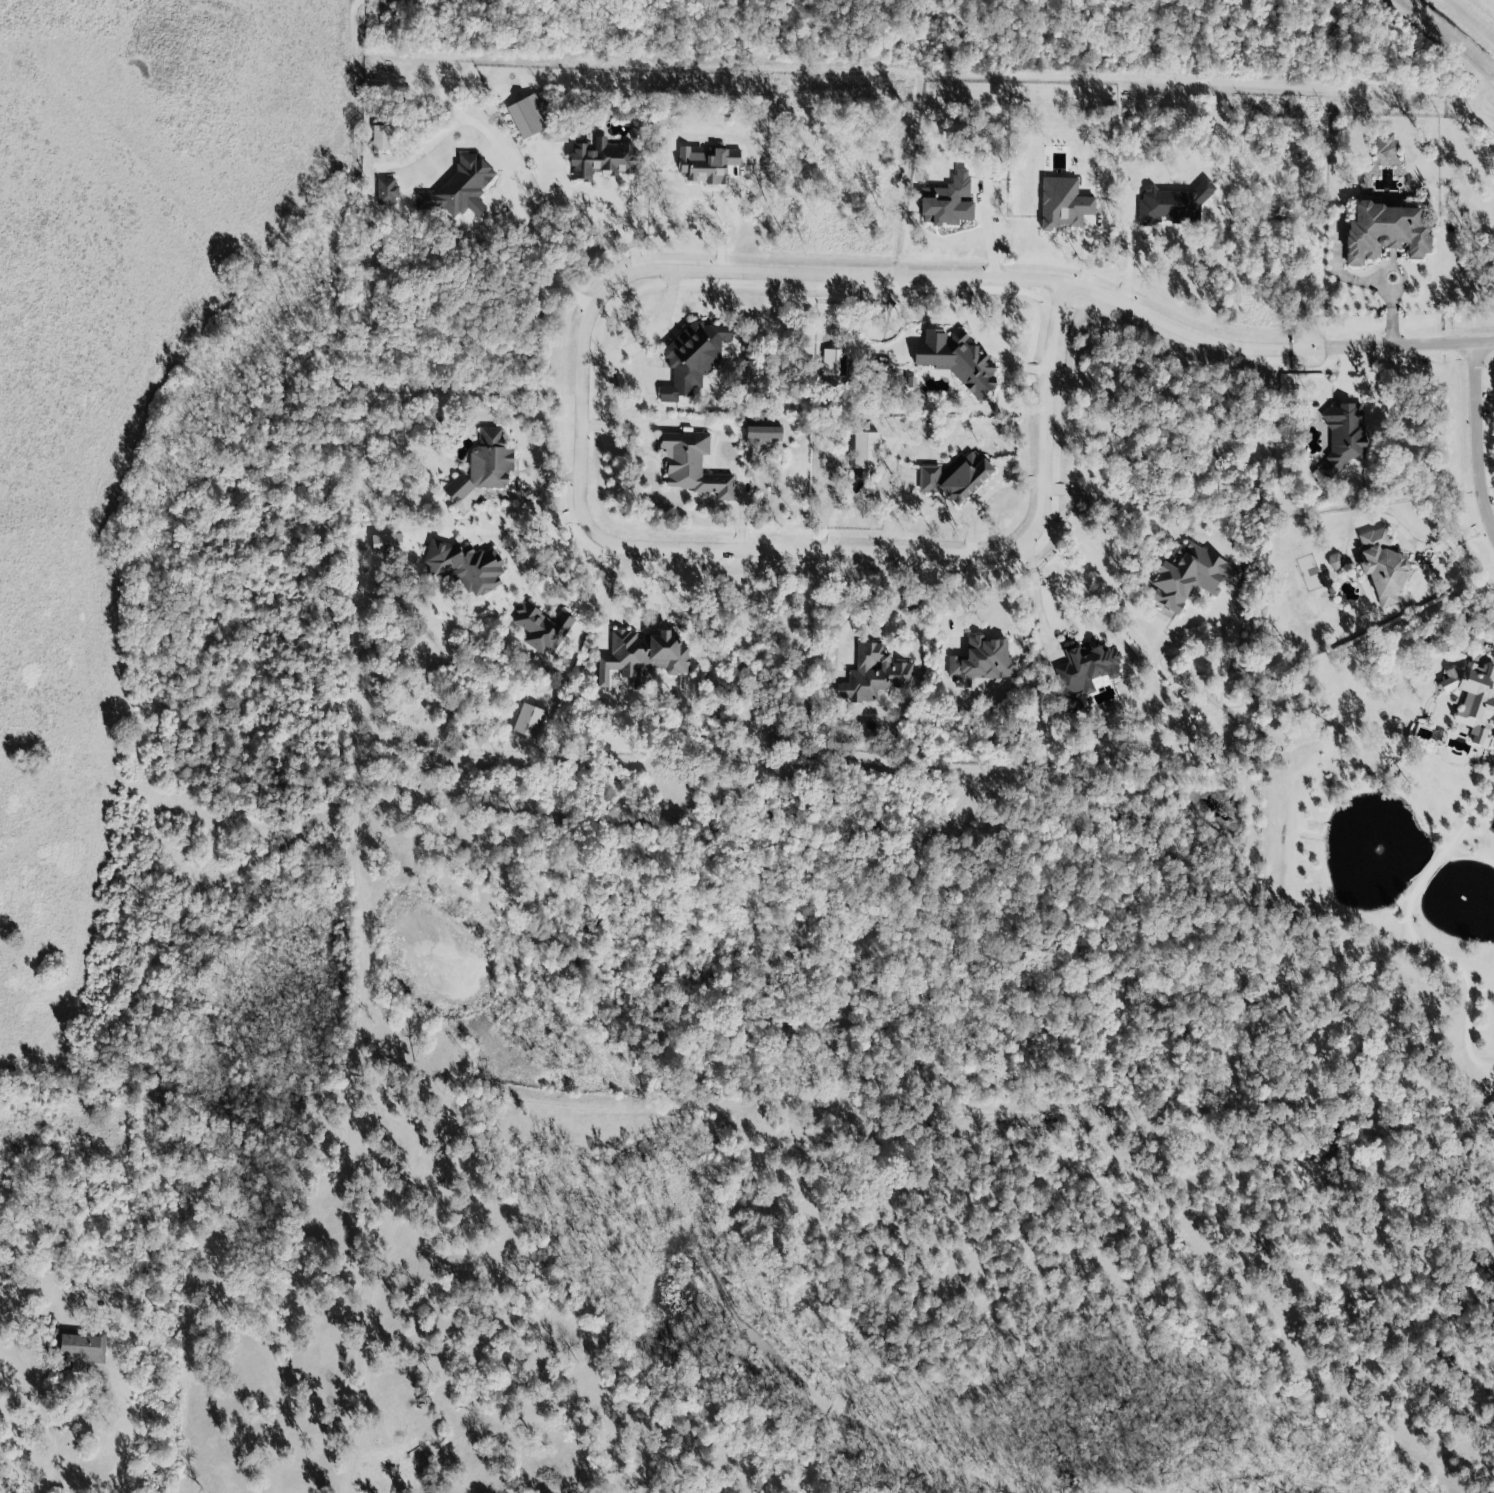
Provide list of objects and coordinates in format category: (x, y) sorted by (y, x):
building: (529, 116)
road: (448, 130)
building: (382, 138)
building: (1384, 144)
building: (601, 160)
building: (707, 163)
building: (461, 189)
building: (387, 191)
road: (598, 197)
building: (948, 199)
building: (1060, 200)
building: (1173, 205)
building: (1386, 234)
road: (540, 242)
road: (1367, 284)
road: (651, 336)
road: (987, 345)
road: (1271, 348)
building: (694, 358)
building: (956, 360)
road: (639, 369)
road: (1483, 404)
building: (763, 436)
building: (1345, 437)
road: (1474, 439)
building: (865, 450)
building: (693, 465)
building: (485, 466)
building: (957, 480)
road: (988, 493)
road: (1106, 502)
road: (1491, 514)
road: (541, 525)
road: (596, 528)
building: (387, 543)
road: (1422, 546)
building: (1335, 561)
building: (465, 566)
building: (1384, 566)
building: (1186, 573)
road: (1036, 592)
road: (655, 600)
road: (606, 602)
road: (884, 615)
road: (585, 621)
road: (1460, 623)
road: (327, 624)
building: (541, 627)
building: (642, 656)
building: (981, 660)
building: (1084, 670)
building: (873, 673)
building: (1473, 698)
building: (528, 721)
road: (1410, 937)
road: (459, 1111)
building: (73, 1346)
road: (52, 1426)

